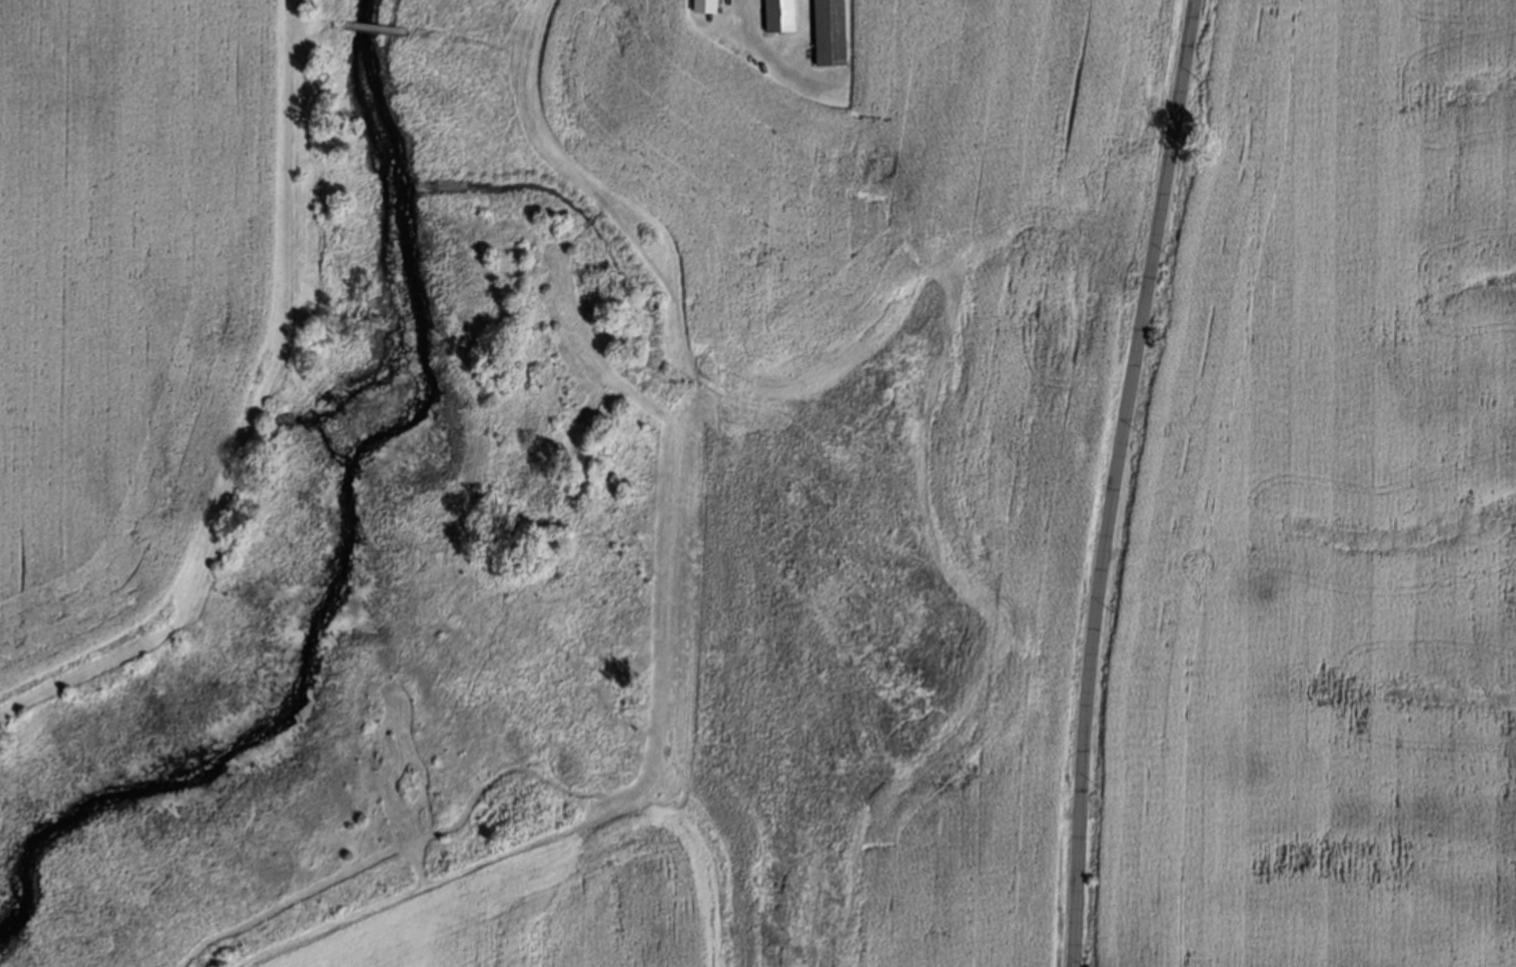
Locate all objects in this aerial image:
building: (704, 7)
building: (780, 15)
building: (830, 31)
road: (1116, 481)

